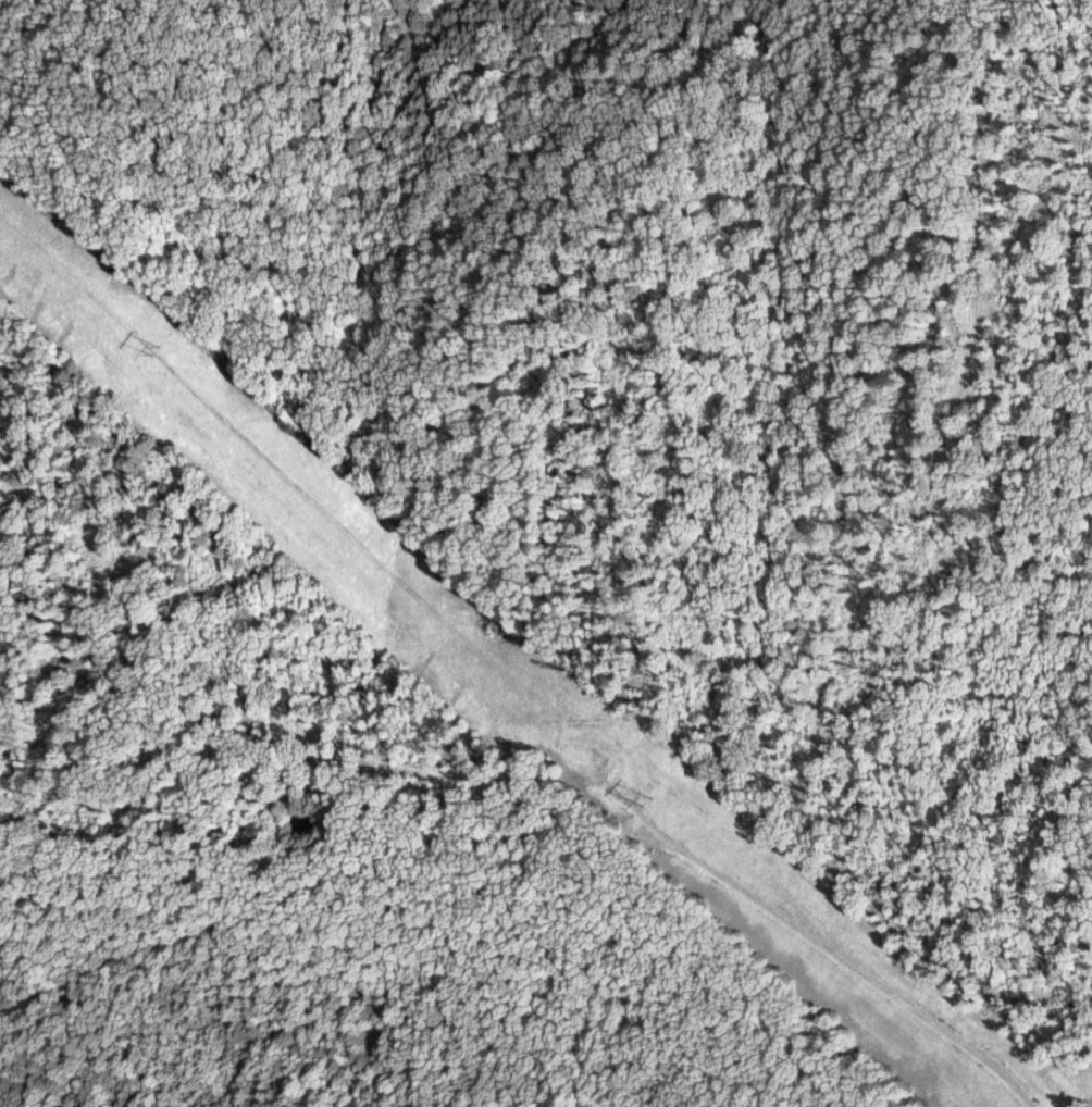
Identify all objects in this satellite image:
power tower: (157, 352)
power tower: (648, 801)

